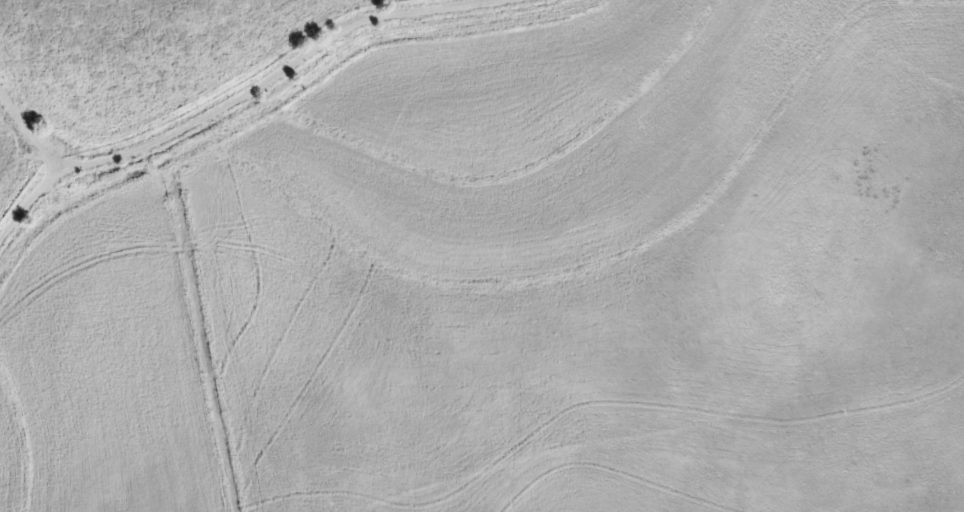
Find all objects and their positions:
road: (247, 82)
road: (25, 115)

